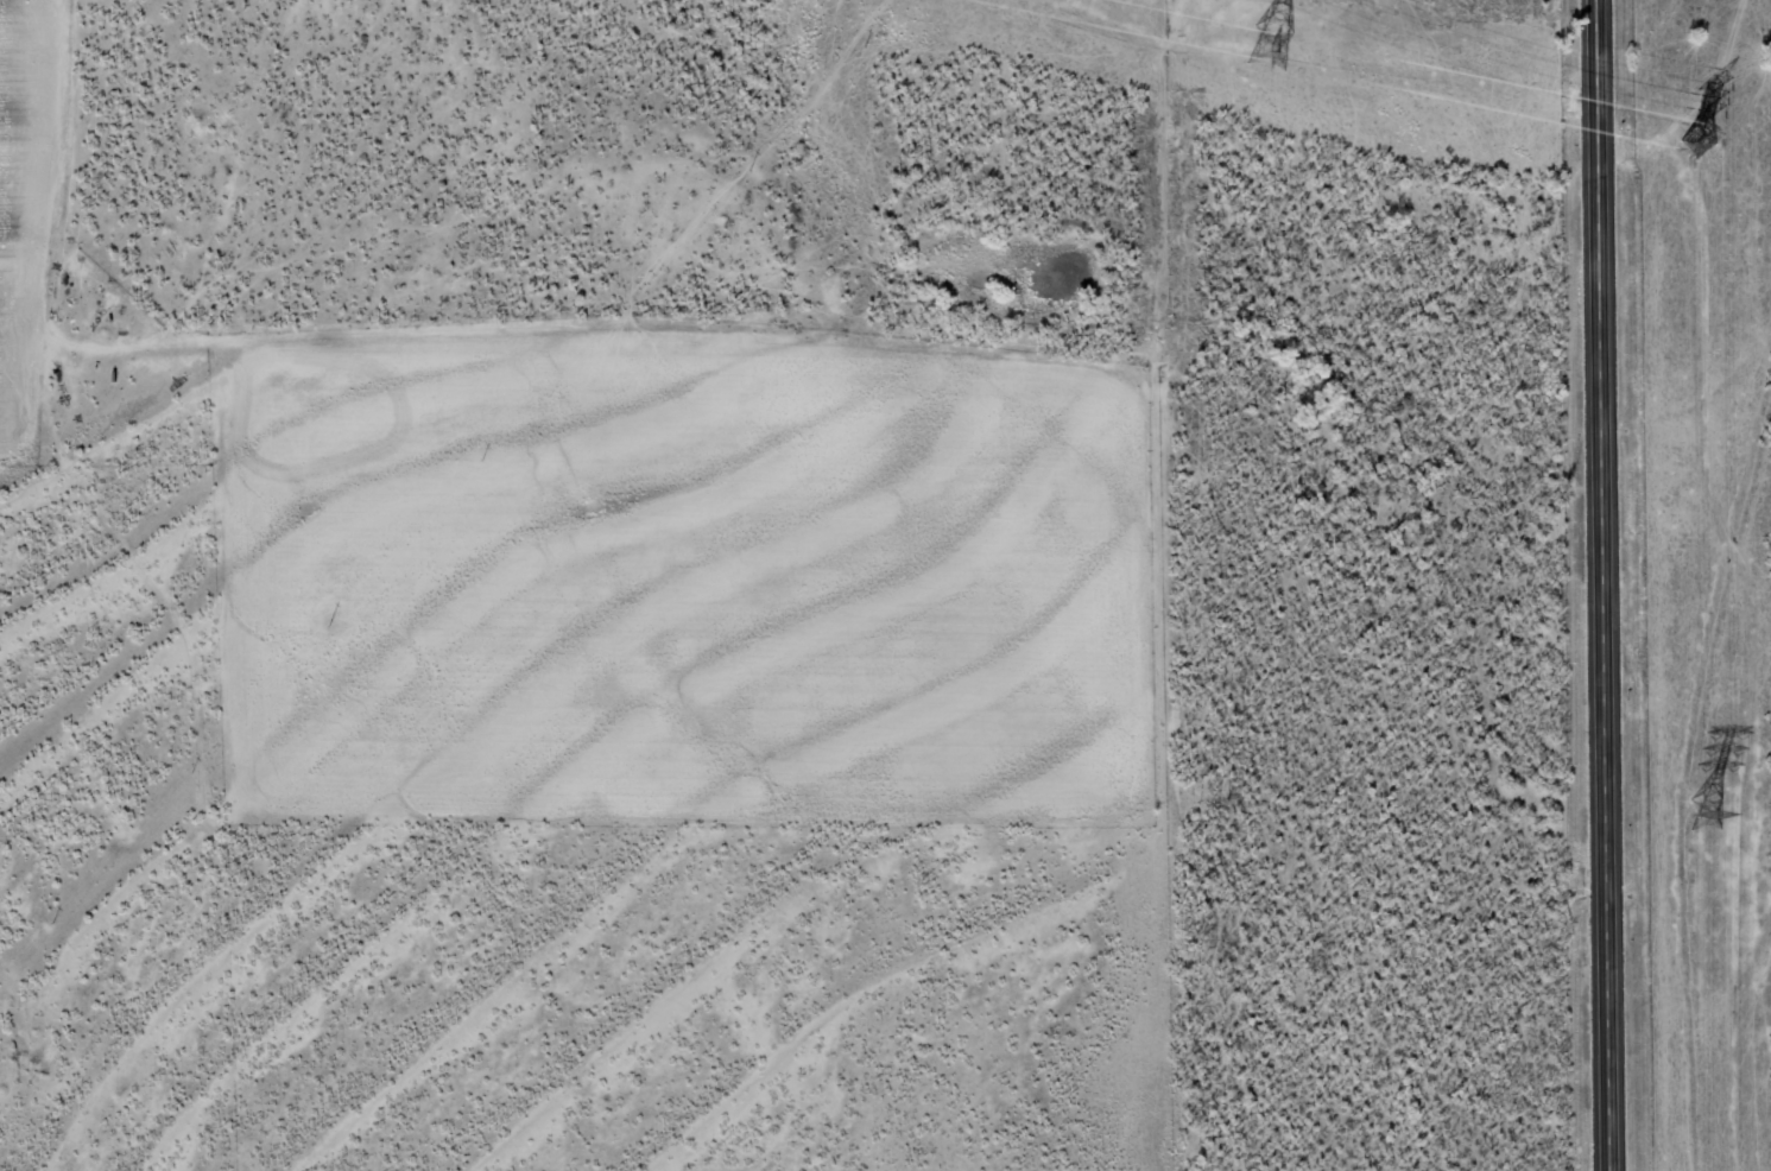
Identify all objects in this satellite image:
power tower: (1261, 49)
power tower: (1696, 141)
road: (1606, 585)
power tower: (1700, 814)

